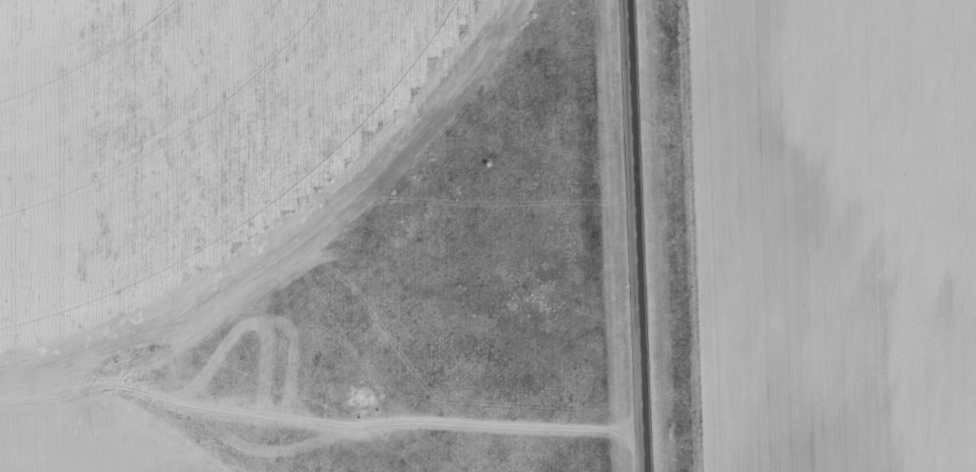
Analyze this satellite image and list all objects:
road: (635, 236)

